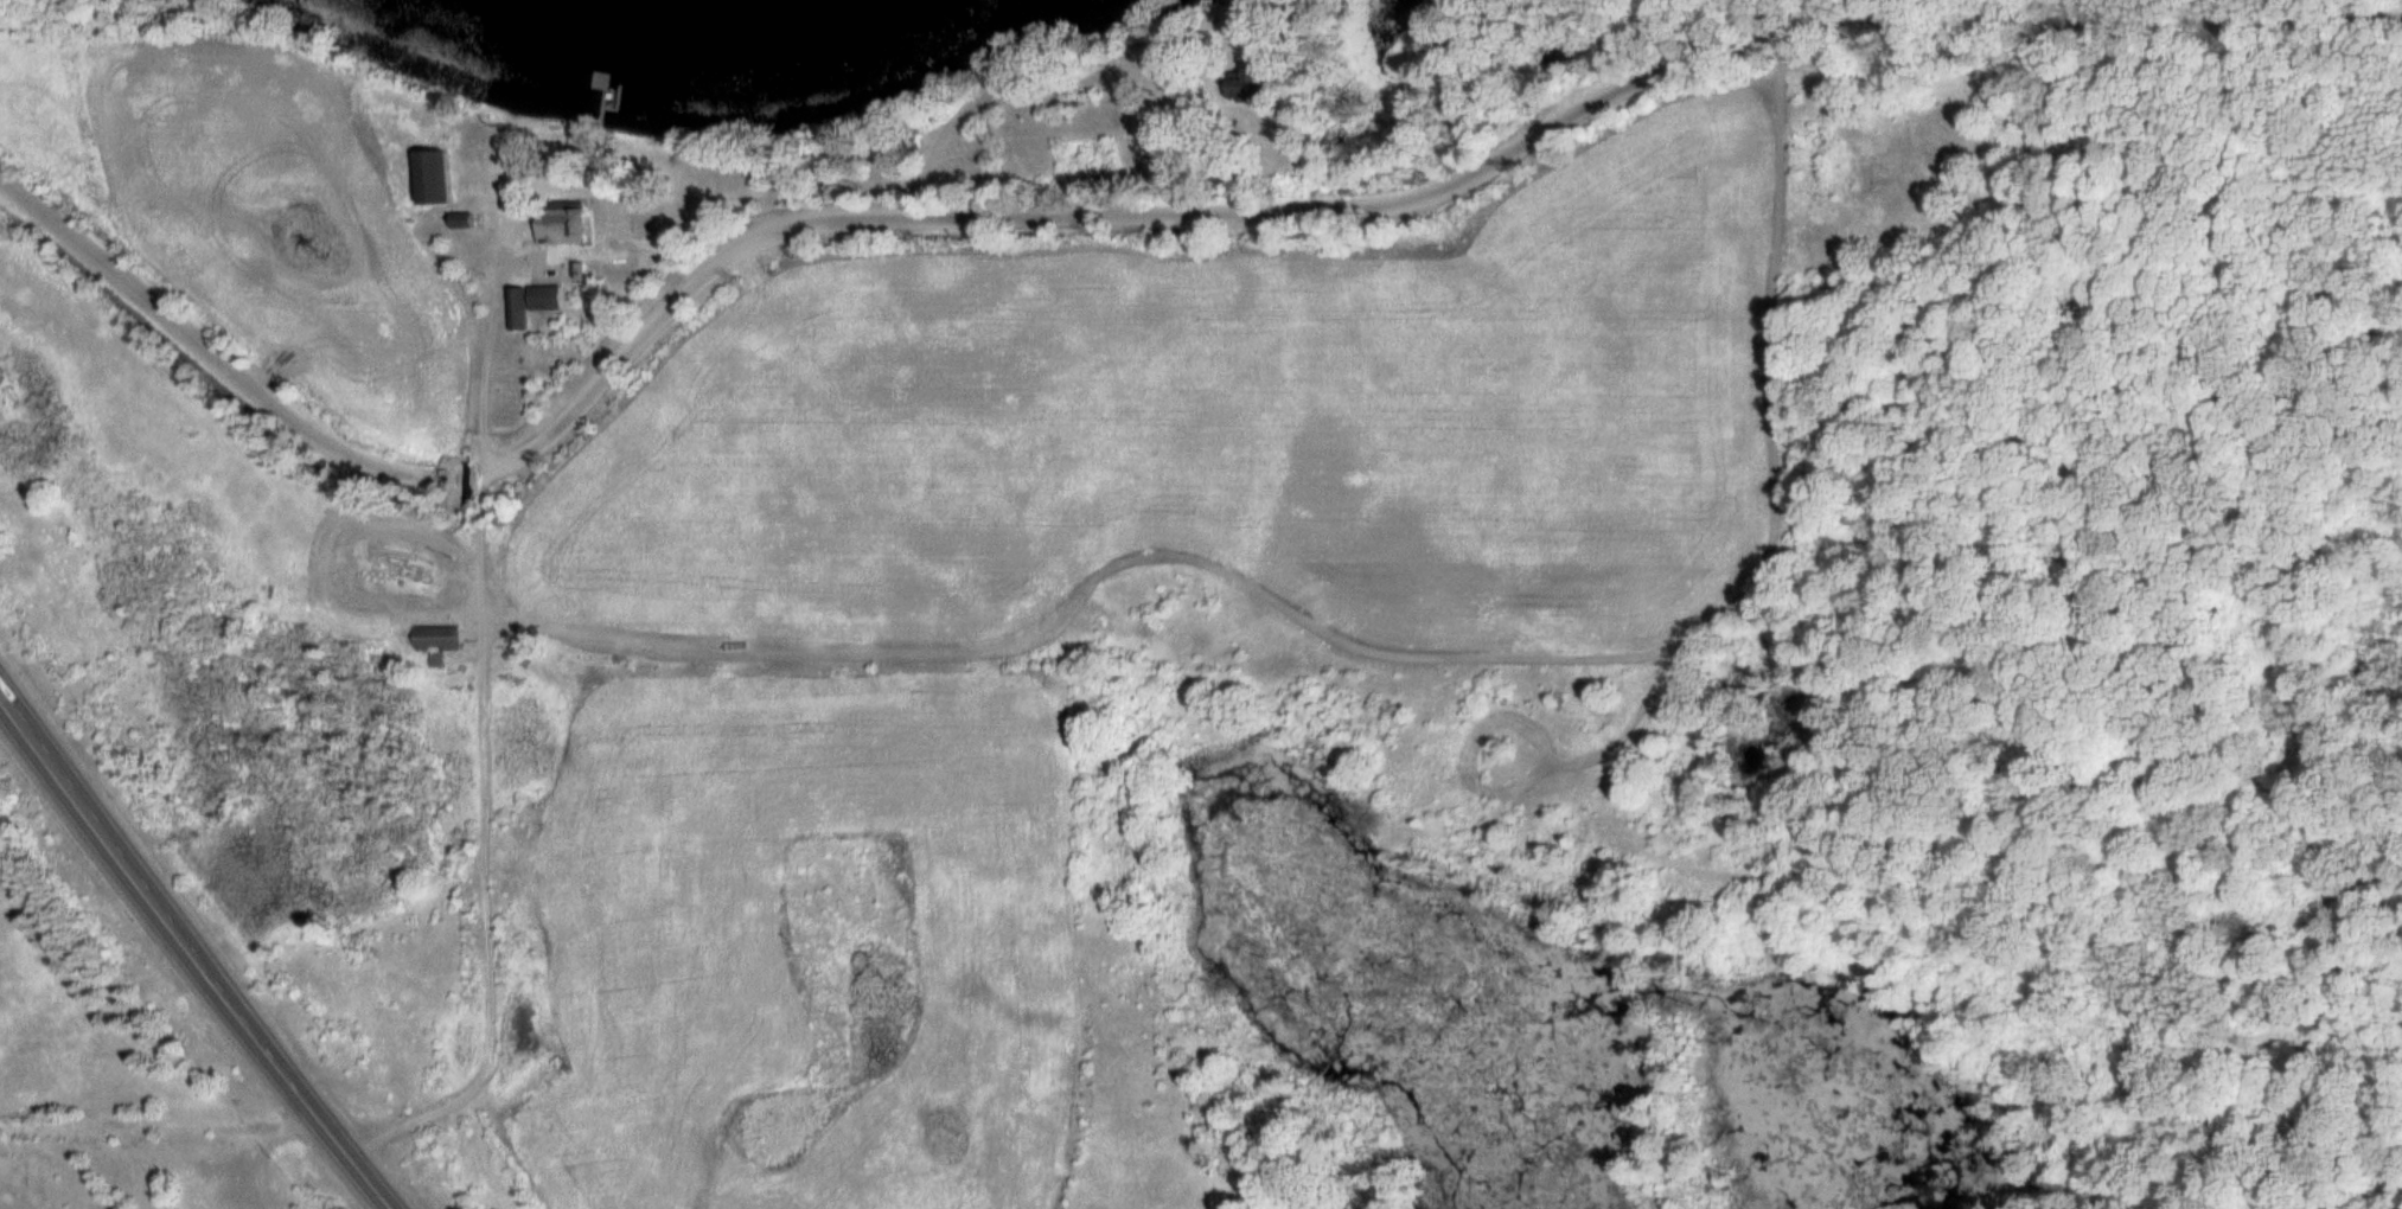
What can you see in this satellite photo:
road: (1685, 28)
building: (1555, 59)
building: (1237, 84)
building: (428, 178)
road: (1125, 210)
building: (556, 222)
building: (529, 302)
building: (433, 638)
road: (198, 948)

